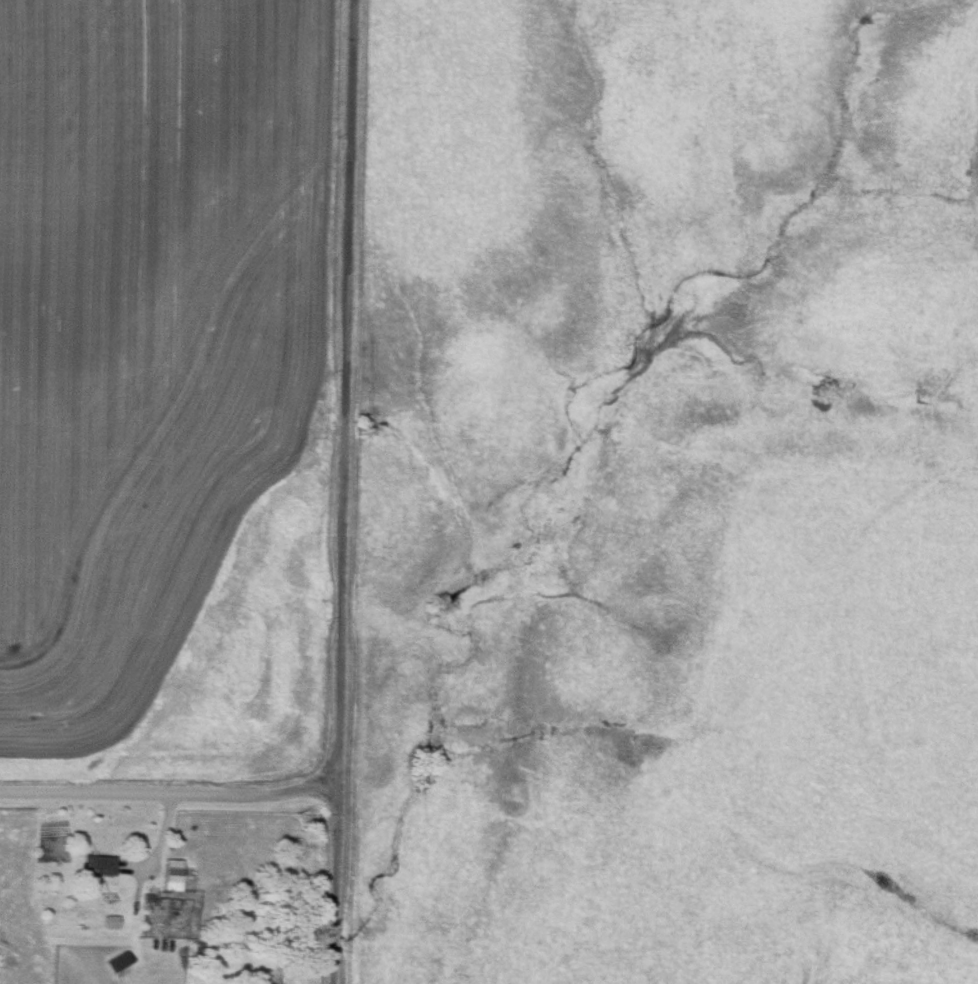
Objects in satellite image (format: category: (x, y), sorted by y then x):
road: (346, 492)
road: (171, 787)
road: (148, 862)
building: (96, 866)
building: (173, 876)
building: (120, 961)

